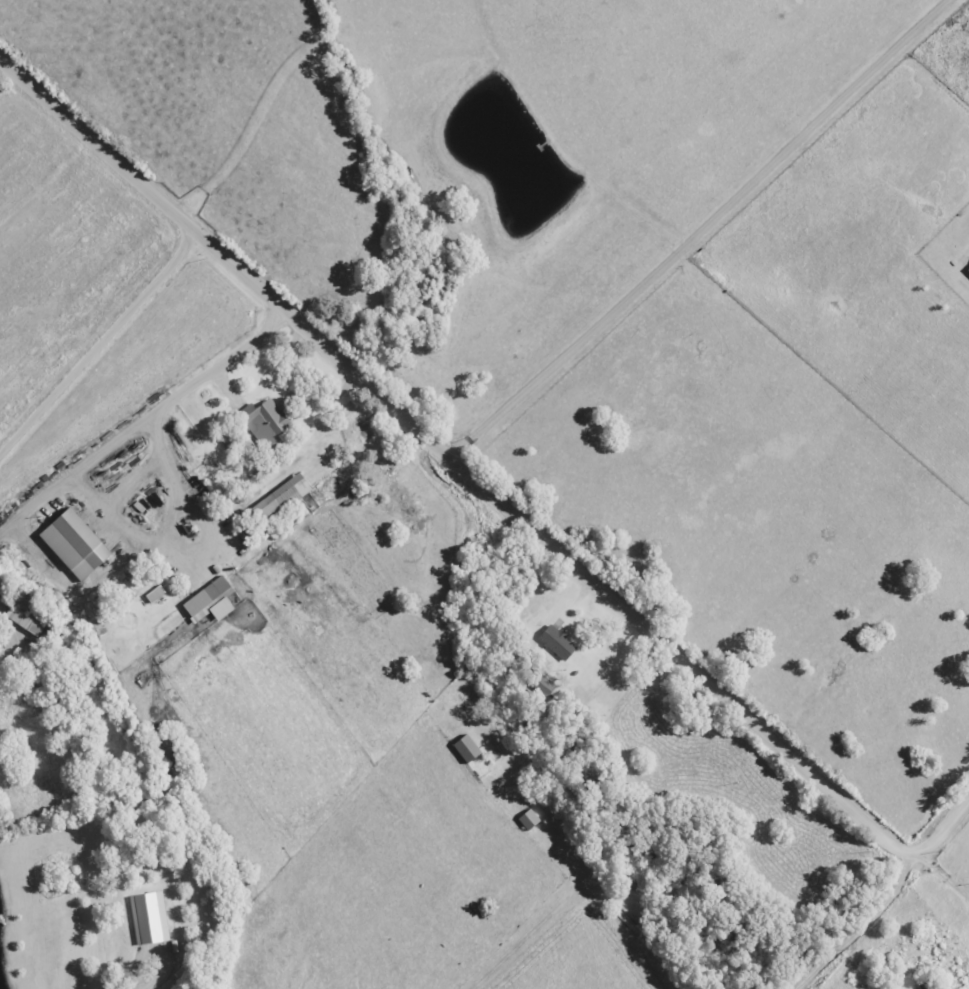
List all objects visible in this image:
building: (258, 424)
road: (134, 425)
road: (483, 487)
building: (272, 500)
building: (66, 533)
building: (137, 595)
building: (200, 600)
building: (14, 615)
building: (547, 643)
building: (455, 749)
building: (517, 820)
road: (826, 915)
building: (143, 919)

